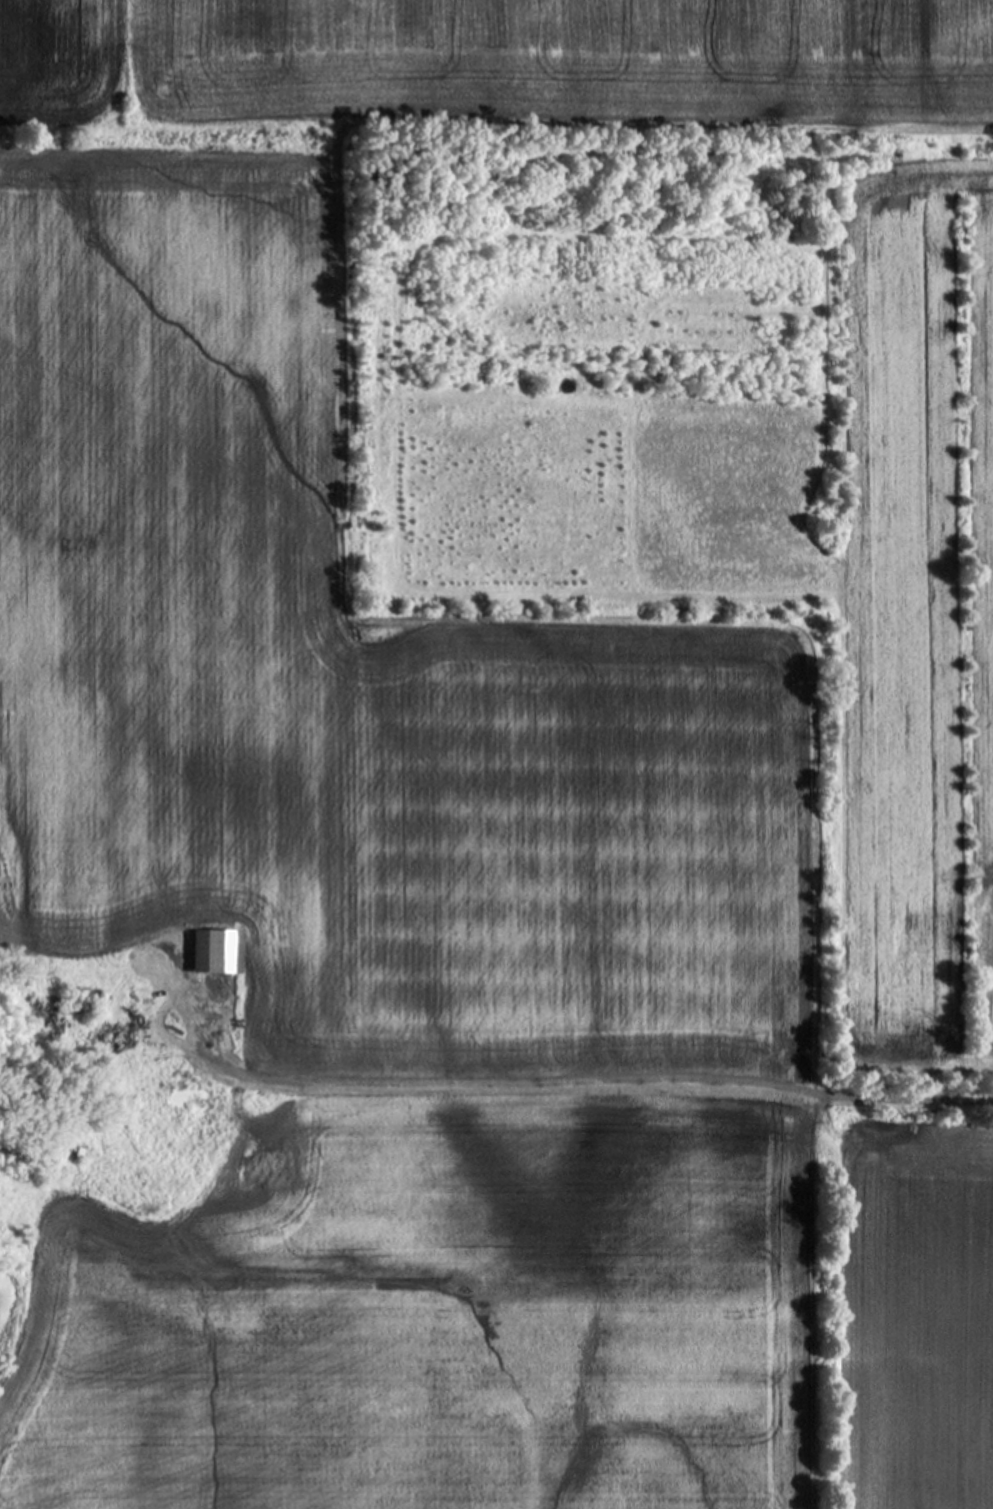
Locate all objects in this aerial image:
building: (218, 951)
road: (602, 1057)

